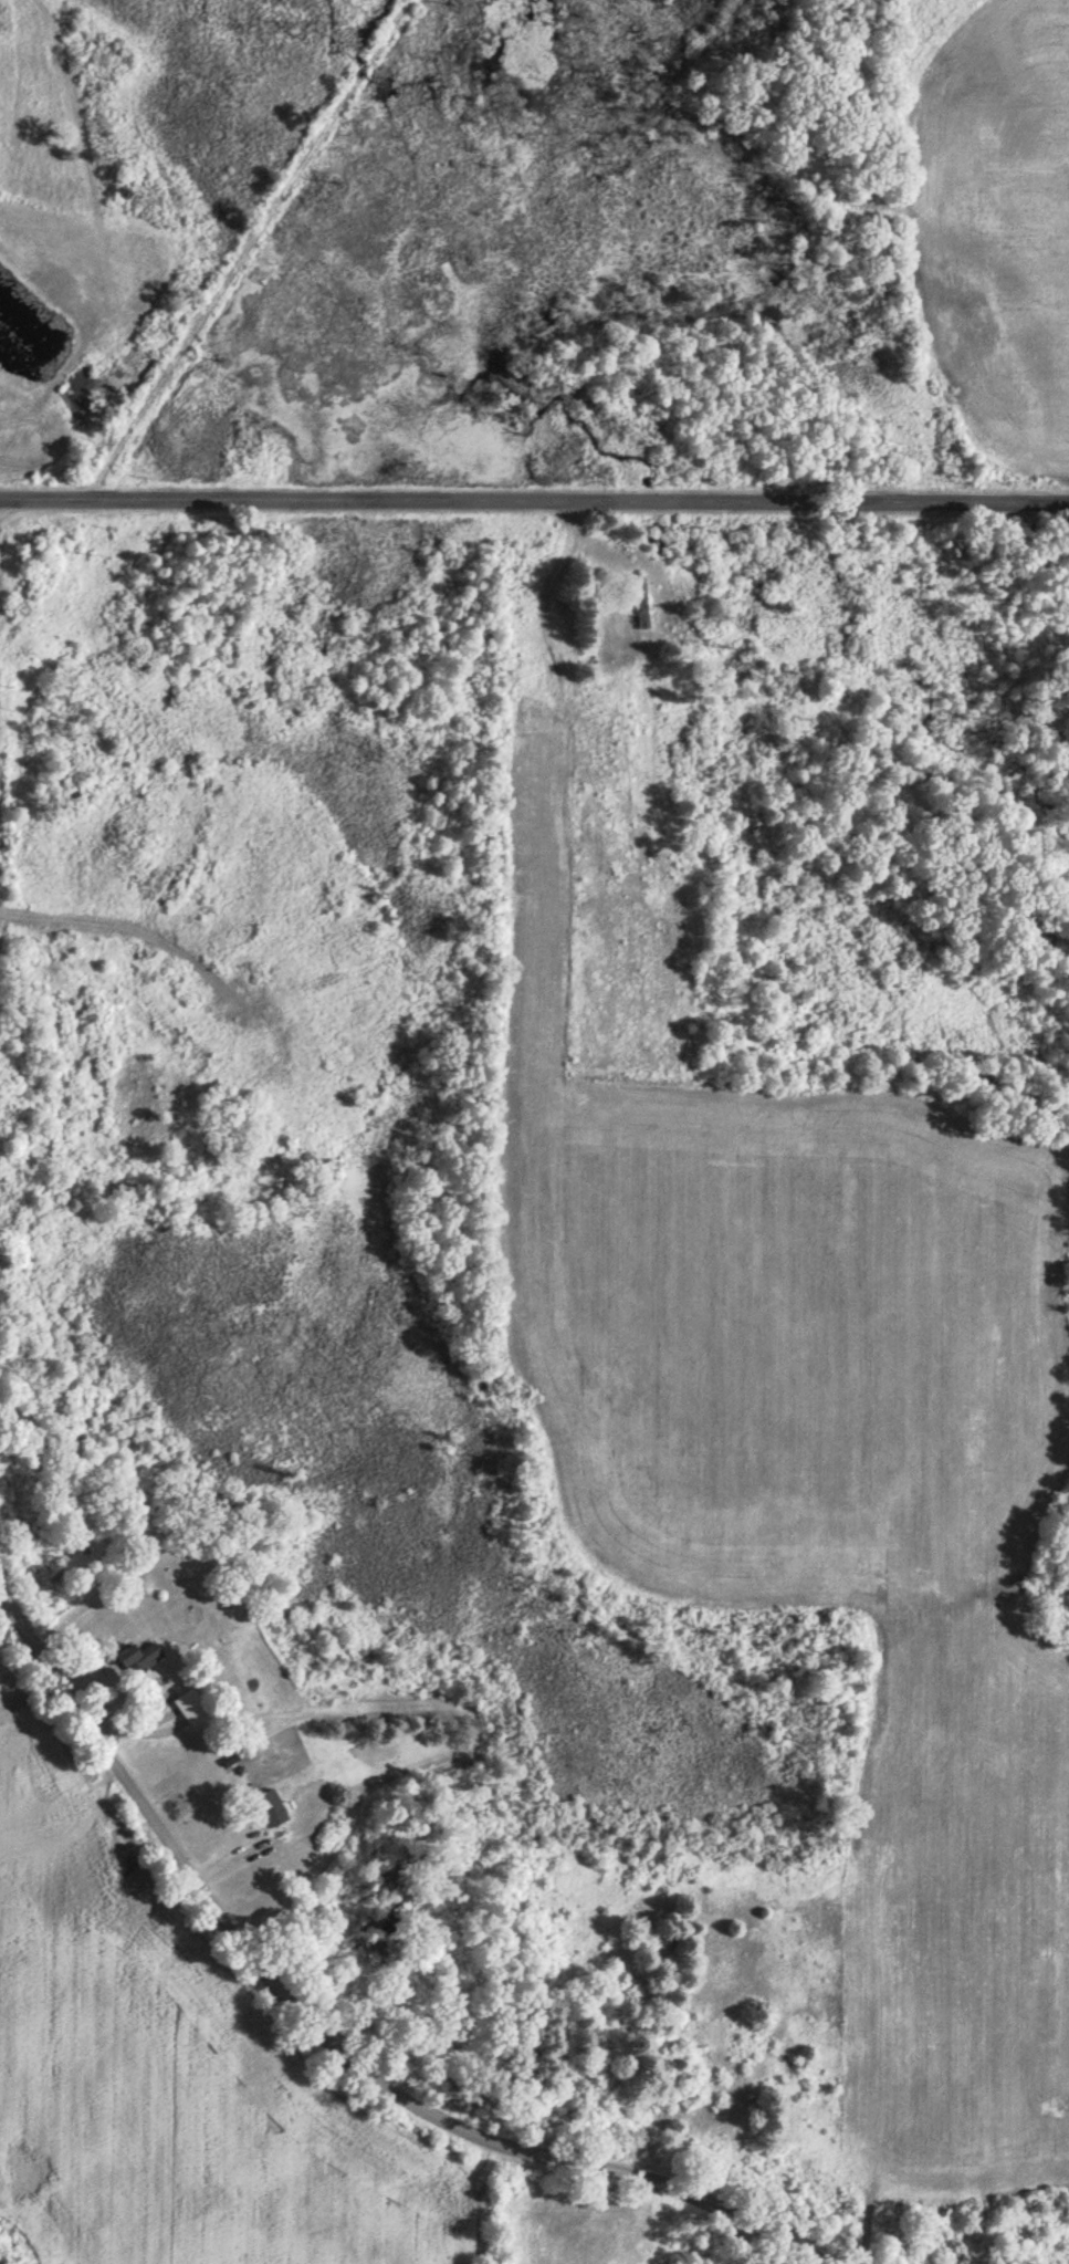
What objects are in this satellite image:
road: (534, 505)
building: (140, 1657)
building: (272, 1807)
road: (322, 2043)

